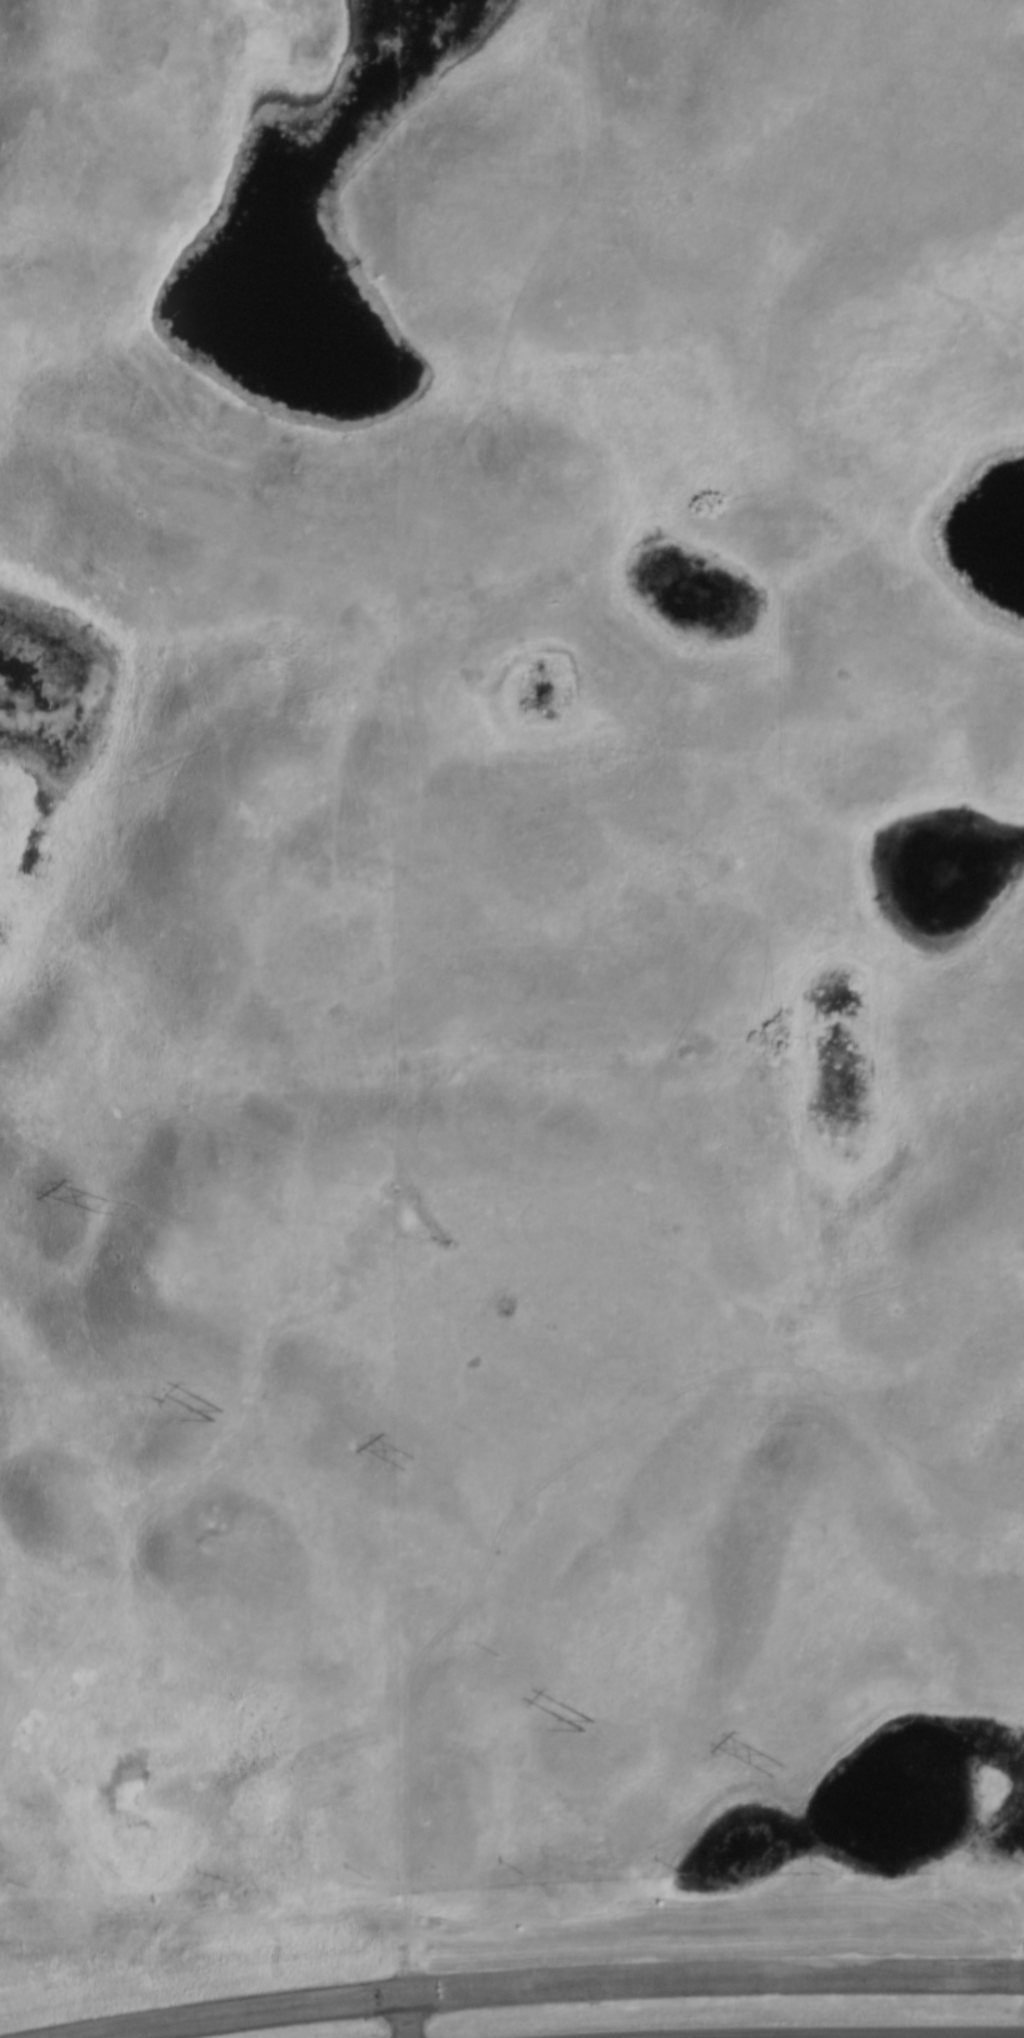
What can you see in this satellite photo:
power tower: (97, 1208)
power tower: (402, 1465)
power tower: (772, 1772)
road: (552, 1981)
road: (408, 2014)

